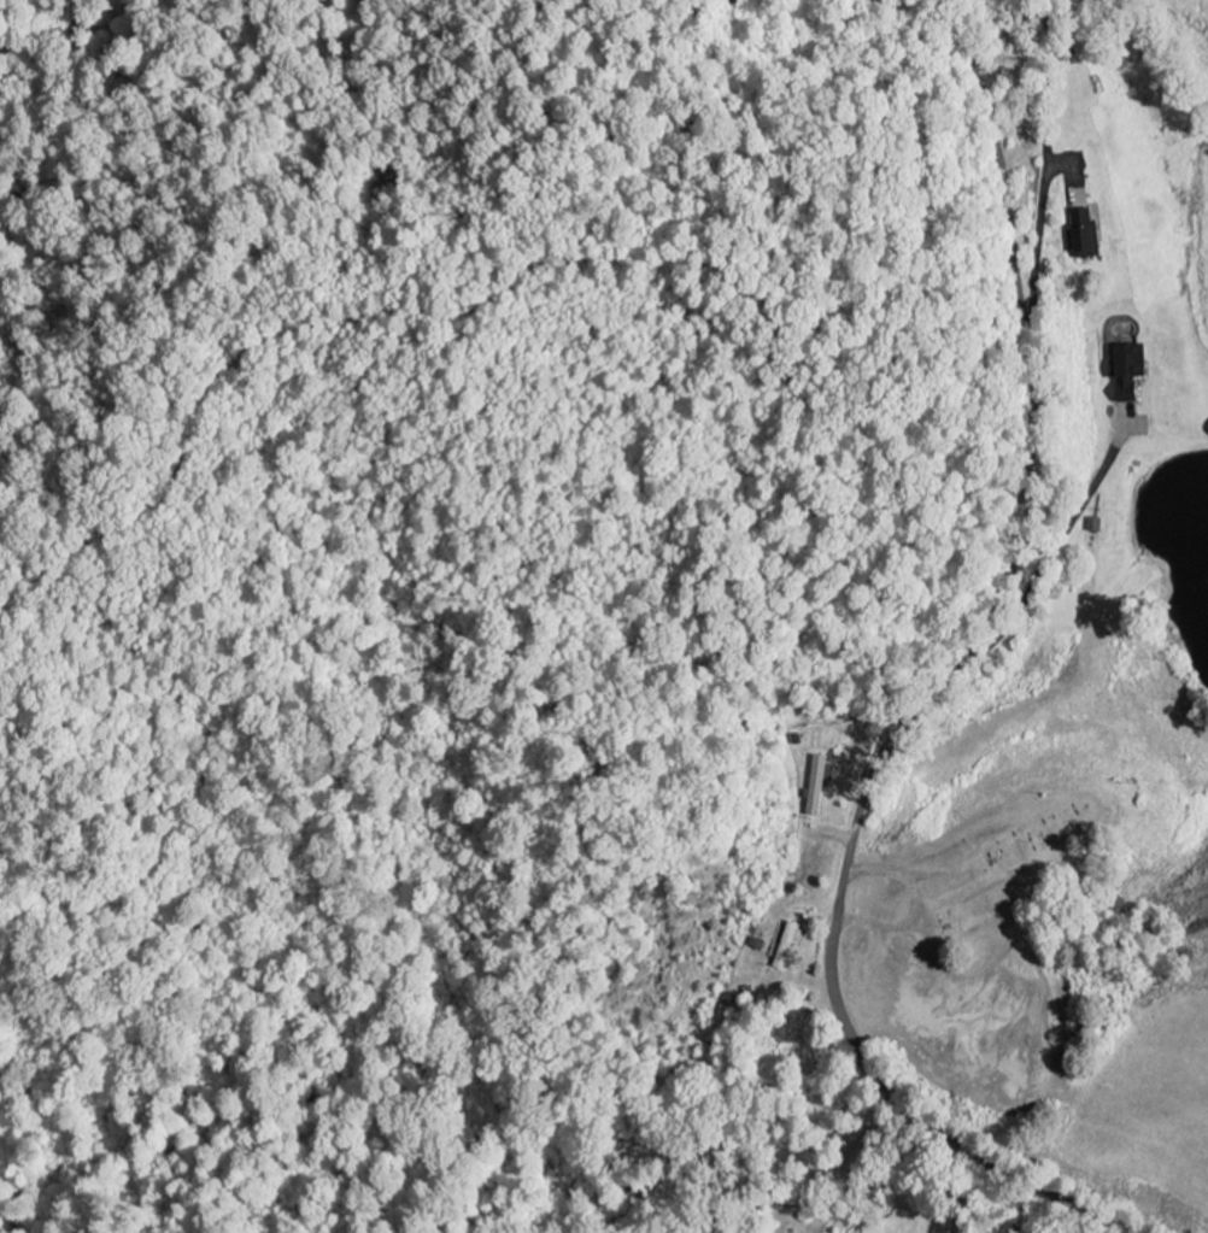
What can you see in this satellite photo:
building: (1085, 235)
building: (1131, 372)
road: (940, 691)
building: (820, 785)
park: (1002, 863)
road: (1033, 891)
building: (791, 945)

